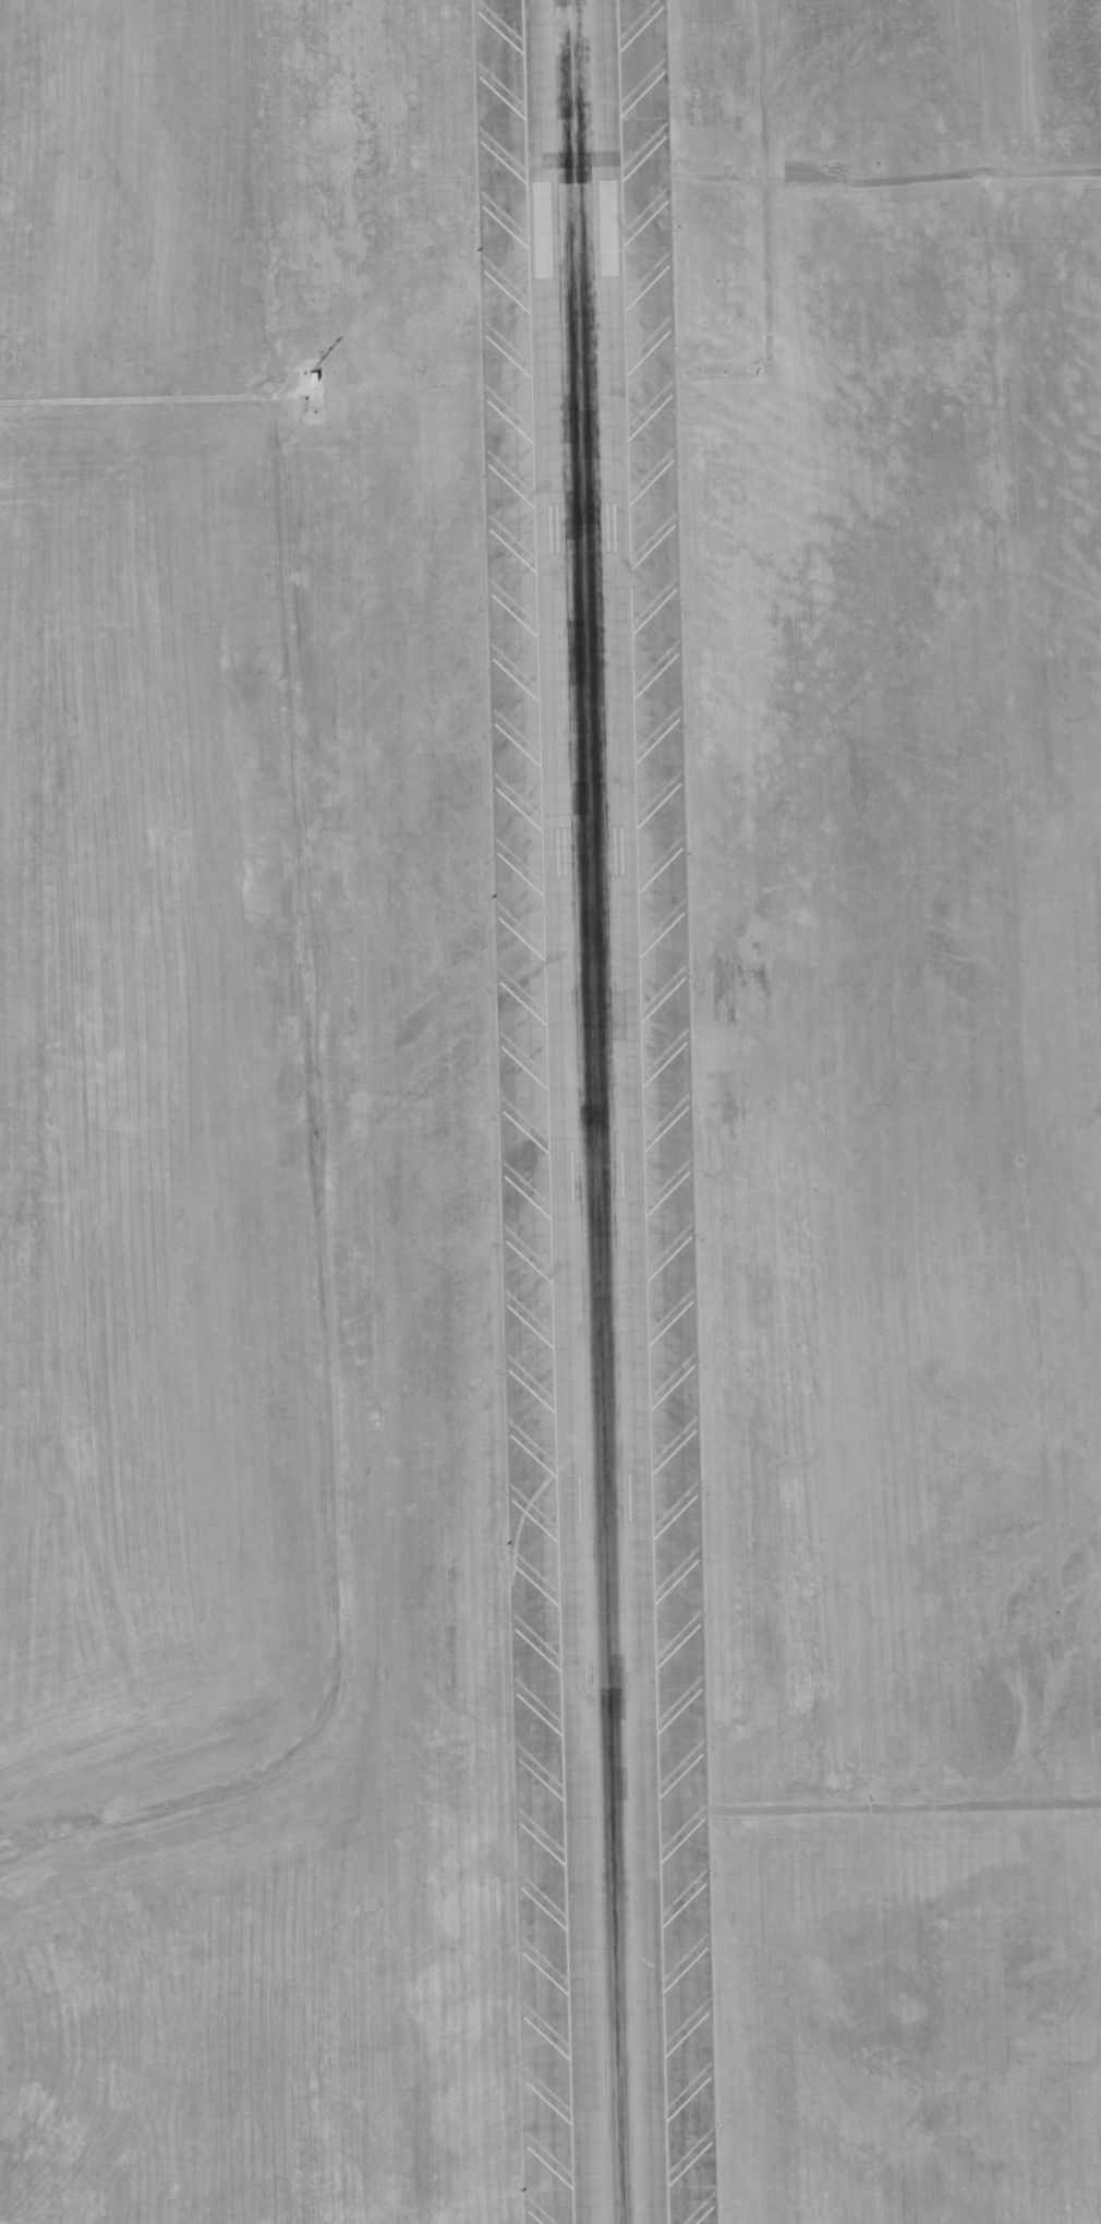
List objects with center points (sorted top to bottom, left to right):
railway: (946, 106)
building: (314, 376)
road: (146, 398)
airport: (550, 1111)
airport runway: (594, 1111)
airport taxiway: (620, 2138)

